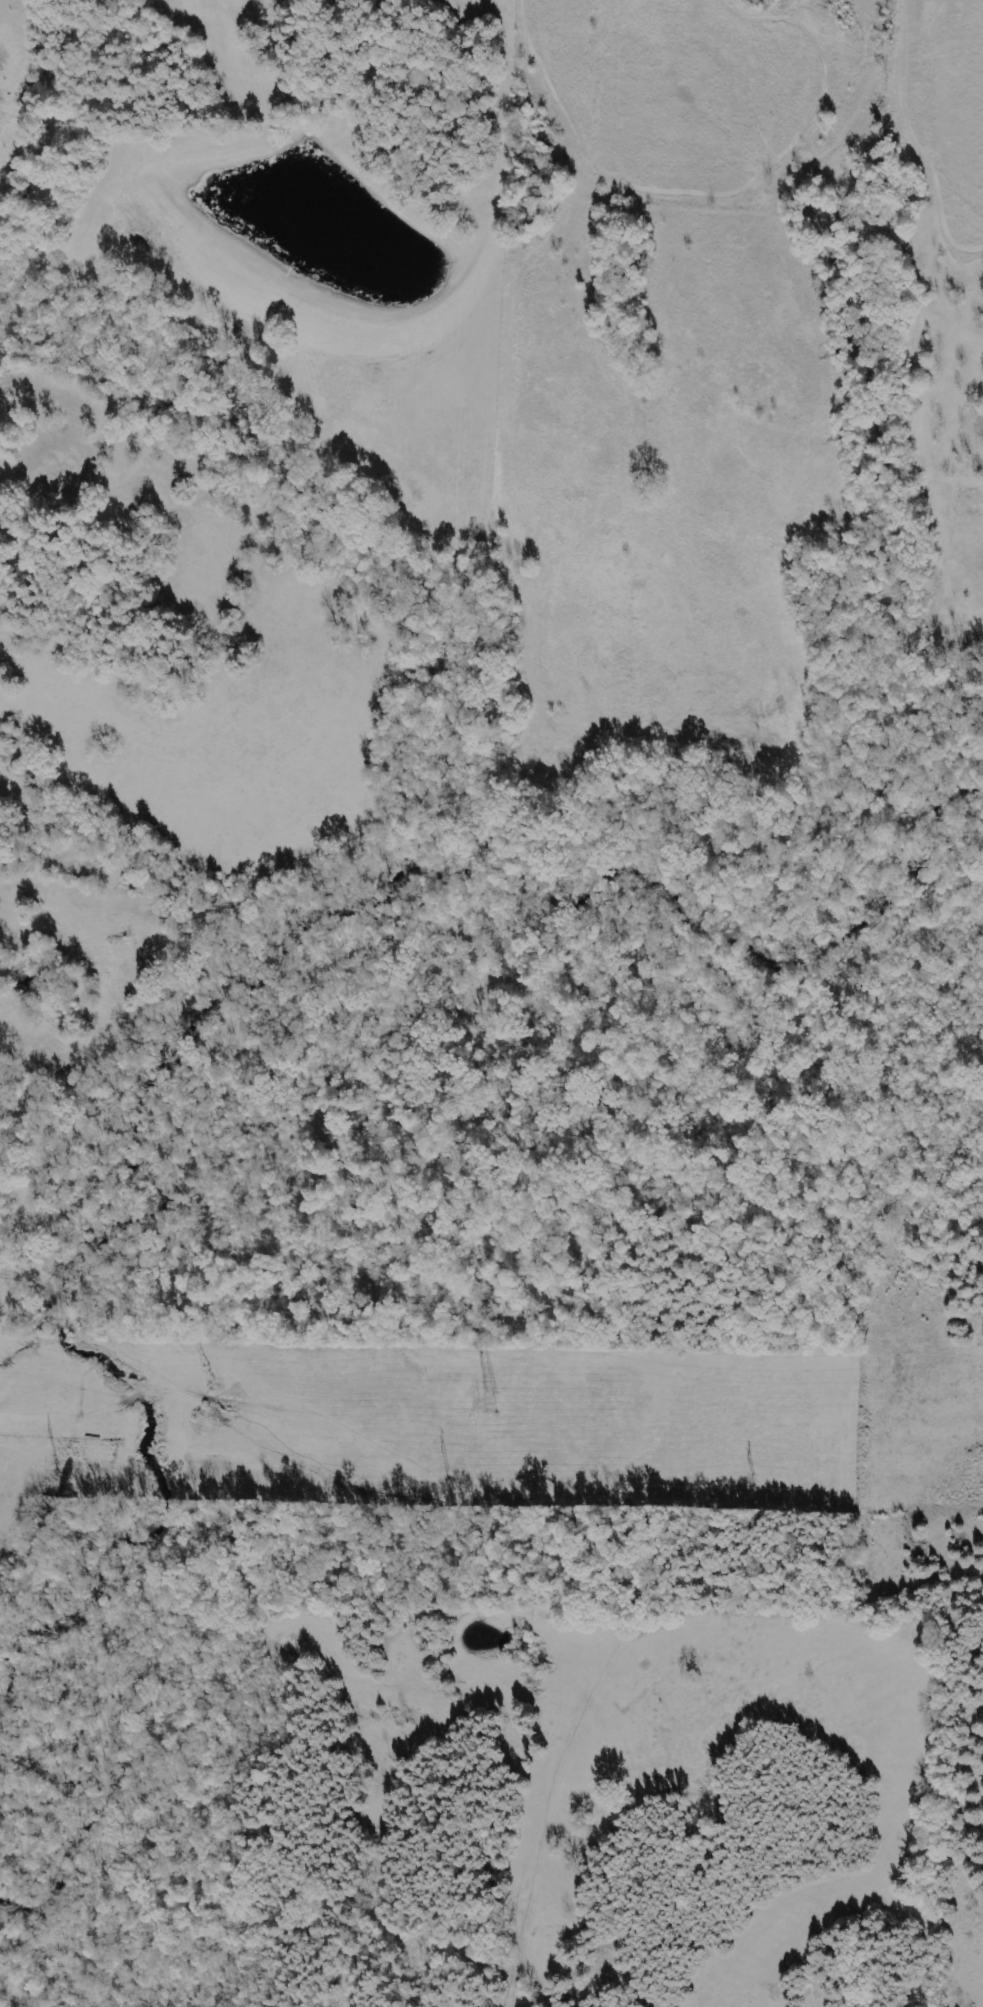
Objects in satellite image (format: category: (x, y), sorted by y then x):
power tower: (484, 1402)

